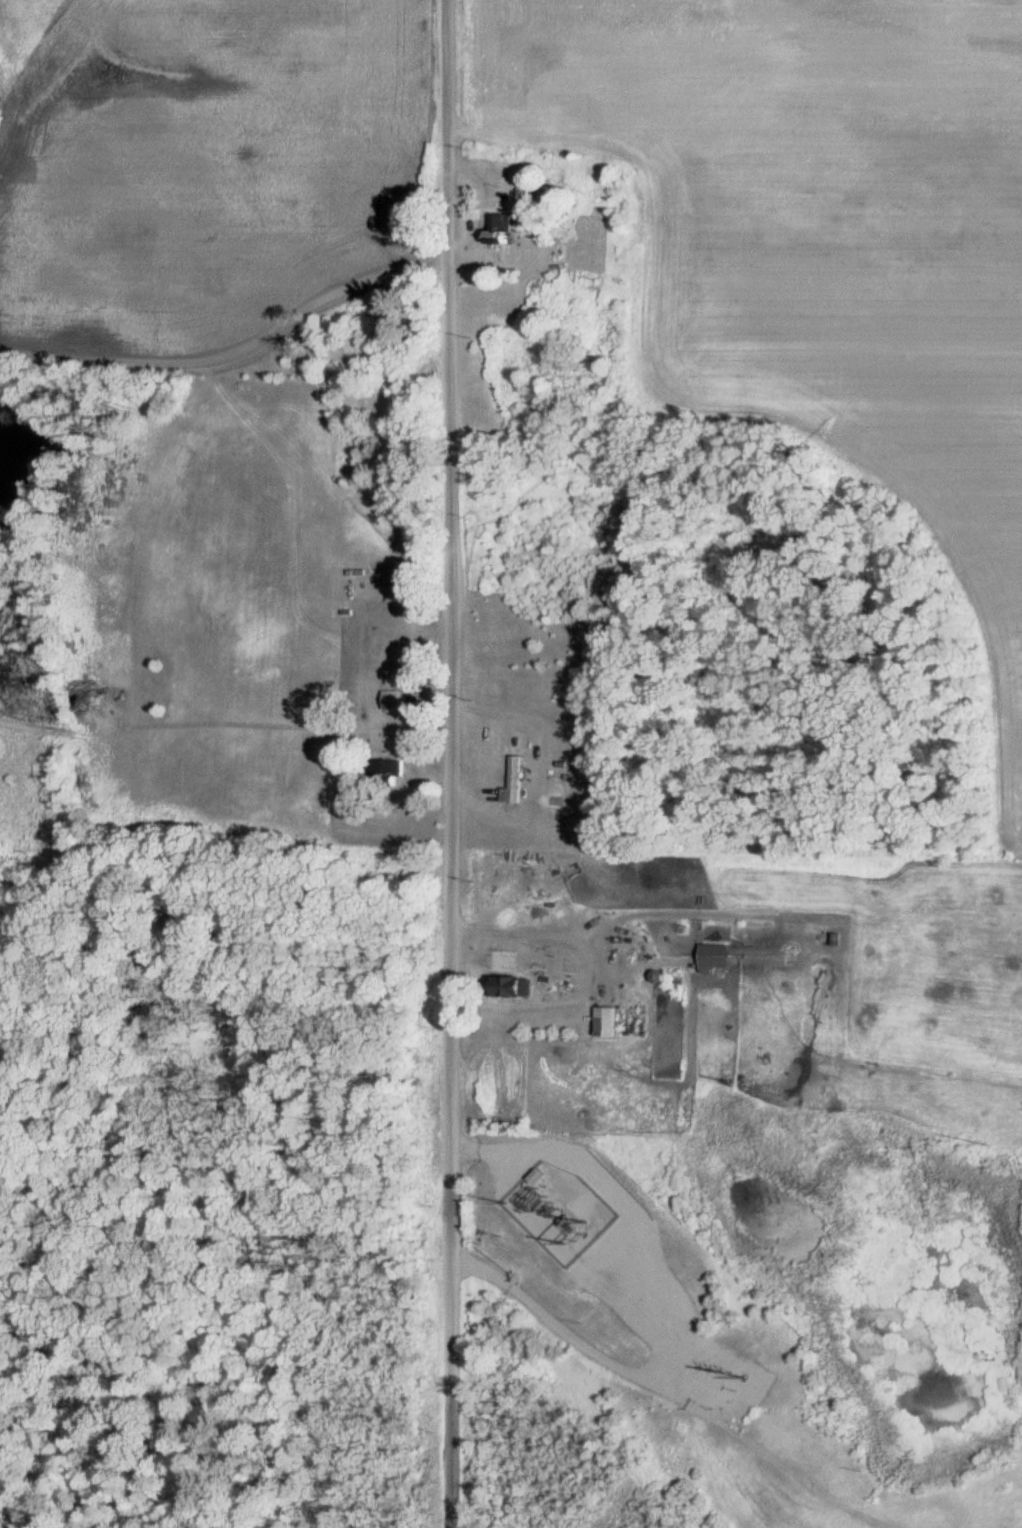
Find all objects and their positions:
building: (501, 233)
building: (396, 702)
road: (445, 764)
building: (390, 771)
building: (516, 785)
building: (717, 960)
building: (517, 988)
building: (611, 1024)
power substation: (541, 1198)

